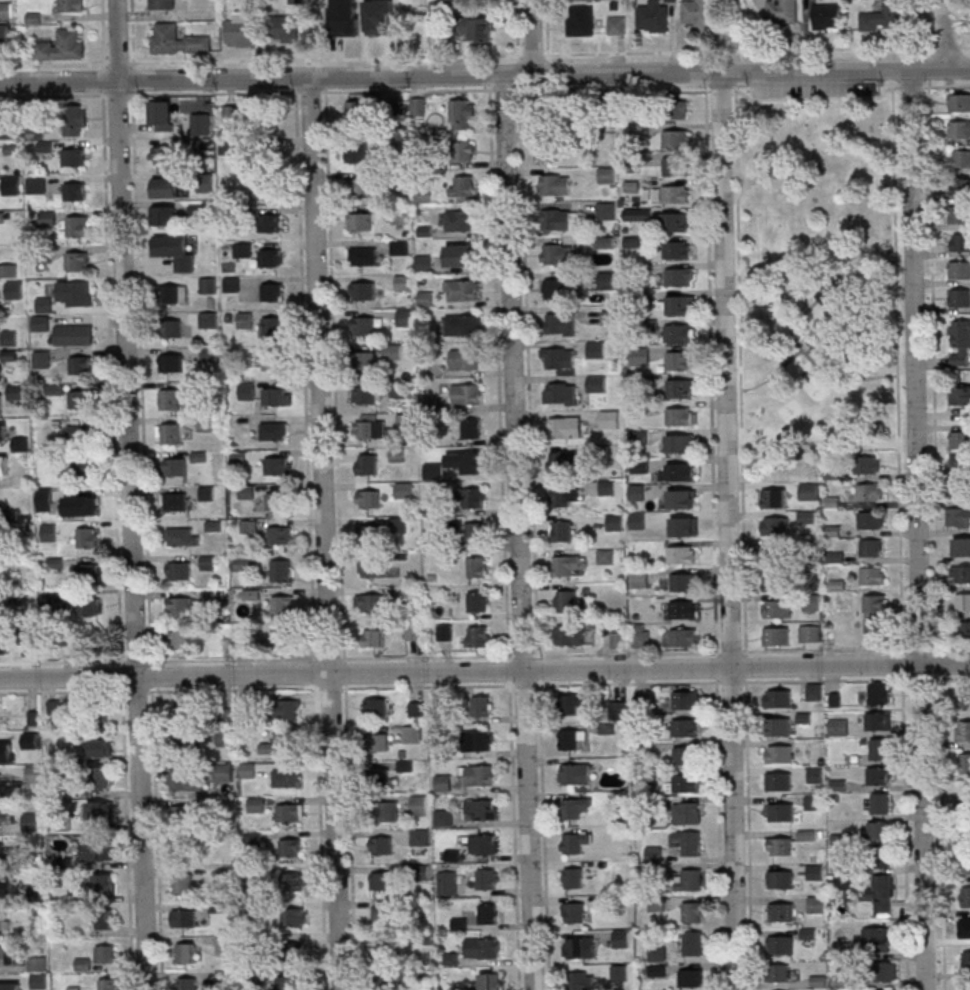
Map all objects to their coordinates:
building: (454, 0)
building: (296, 1)
building: (161, 4)
building: (70, 5)
building: (5, 10)
building: (782, 11)
building: (697, 12)
building: (827, 15)
building: (654, 16)
building: (888, 16)
building: (347, 17)
building: (581, 17)
road: (932, 22)
road: (962, 23)
building: (616, 25)
road: (547, 27)
building: (285, 28)
building: (477, 28)
building: (240, 29)
road: (517, 29)
road: (103, 33)
road: (132, 34)
road: (948, 34)
building: (4, 37)
road: (534, 37)
building: (177, 39)
road: (117, 40)
building: (62, 45)
road: (949, 45)
road: (963, 45)
road: (741, 49)
road: (533, 54)
road: (325, 57)
road: (53, 63)
road: (118, 63)
road: (518, 67)
road: (485, 76)
road: (705, 77)
road: (734, 77)
road: (133, 78)
road: (103, 79)
road: (489, 80)
road: (295, 83)
parking lot: (816, 83)
road: (946, 85)
road: (913, 86)
road: (504, 89)
road: (612, 89)
road: (720, 89)
road: (408, 90)
road: (311, 91)
road: (149, 92)
road: (819, 97)
building: (958, 103)
building: (418, 106)
building: (674, 108)
building: (357, 111)
building: (230, 113)
building: (462, 114)
building: (162, 115)
building: (75, 119)
building: (200, 123)
building: (959, 129)
building: (676, 138)
building: (462, 151)
building: (547, 151)
building: (357, 152)
building: (163, 155)
building: (74, 156)
building: (959, 158)
building: (672, 166)
building: (606, 174)
building: (36, 184)
building: (206, 185)
building: (554, 185)
building: (359, 186)
building: (462, 186)
building: (959, 186)
building: (165, 187)
building: (268, 189)
building: (75, 191)
building: (675, 193)
building: (10, 199)
building: (606, 210)
building: (200, 214)
building: (639, 214)
building: (958, 215)
building: (164, 216)
building: (460, 219)
building: (559, 220)
building: (360, 221)
building: (679, 221)
building: (271, 223)
building: (75, 226)
building: (960, 243)
building: (243, 249)
building: (678, 249)
building: (207, 250)
building: (557, 254)
building: (462, 255)
building: (364, 256)
building: (271, 257)
building: (76, 260)
building: (425, 262)
building: (176, 263)
road: (877, 265)
building: (8, 270)
building: (958, 271)
building: (679, 276)
building: (606, 280)
park: (812, 280)
building: (403, 282)
building: (208, 285)
building: (558, 288)
building: (362, 290)
building: (462, 290)
building: (273, 292)
building: (834, 292)
building: (74, 293)
building: (174, 293)
building: (424, 298)
building: (959, 299)
building: (44, 303)
building: (677, 304)
building: (609, 316)
building: (404, 317)
building: (208, 319)
building: (560, 323)
building: (363, 324)
building: (463, 324)
building: (274, 326)
building: (172, 328)
building: (678, 332)
building: (74, 334)
building: (9, 337)
building: (960, 342)
building: (596, 348)
building: (209, 353)
building: (640, 356)
building: (558, 357)
building: (465, 359)
building: (365, 360)
building: (679, 360)
building: (273, 361)
building: (171, 362)
building: (80, 364)
road: (711, 366)
road: (740, 367)
building: (0, 370)
road: (898, 370)
road: (934, 370)
road: (499, 371)
road: (823, 372)
road: (529, 373)
road: (335, 376)
road: (142, 377)
road: (111, 378)
road: (768, 379)
building: (597, 383)
building: (682, 388)
building: (247, 389)
building: (15, 391)
building: (467, 393)
building: (566, 393)
building: (366, 394)
building: (277, 396)
building: (170, 398)
building: (962, 399)
building: (82, 400)
building: (1, 404)
building: (680, 415)
building: (609, 419)
building: (407, 420)
building: (372, 427)
building: (564, 427)
building: (472, 428)
building: (274, 430)
building: (79, 433)
building: (170, 433)
road: (821, 435)
building: (960, 439)
building: (680, 443)
building: (397, 455)
building: (466, 462)
building: (565, 462)
building: (960, 463)
building: (18, 464)
building: (368, 464)
building: (868, 465)
building: (175, 466)
building: (279, 466)
building: (84, 468)
building: (432, 471)
building: (678, 472)
building: (607, 487)
building: (404, 490)
building: (958, 490)
building: (247, 491)
building: (636, 491)
building: (808, 491)
building: (209, 492)
building: (870, 493)
building: (565, 495)
building: (476, 497)
building: (774, 497)
building: (45, 498)
building: (369, 498)
building: (682, 498)
building: (175, 501)
building: (276, 501)
building: (79, 504)
building: (958, 518)
building: (637, 520)
building: (870, 520)
building: (615, 521)
building: (400, 524)
building: (775, 525)
building: (249, 526)
building: (683, 526)
road: (917, 529)
building: (562, 530)
road: (728, 530)
building: (477, 531)
building: (373, 532)
road: (519, 532)
road: (324, 534)
road: (132, 535)
building: (280, 535)
building: (183, 536)
building: (88, 537)
road: (310, 539)
building: (872, 547)
building: (961, 547)
building: (775, 553)
building: (681, 554)
building: (605, 556)
building: (207, 562)
building: (242, 563)
building: (567, 565)
building: (477, 566)
building: (373, 567)
building: (282, 570)
building: (178, 571)
building: (86, 574)
building: (960, 574)
building: (873, 575)
building: (639, 579)
building: (685, 582)
building: (774, 582)
building: (566, 600)
building: (479, 601)
building: (964, 601)
building: (372, 602)
building: (283, 604)
building: (89, 606)
building: (180, 606)
building: (776, 608)
building: (680, 609)
building: (875, 613)
building: (965, 629)
building: (445, 631)
building: (414, 632)
building: (810, 633)
building: (569, 634)
building: (479, 635)
building: (617, 635)
building: (776, 635)
building: (683, 636)
building: (250, 637)
building: (284, 637)
building: (373, 637)
building: (181, 640)
road: (948, 647)
road: (919, 648)
road: (826, 649)
road: (730, 651)
road: (627, 652)
road: (524, 655)
road: (426, 656)
road: (329, 658)
road: (233, 659)
road: (62, 661)
road: (137, 661)
road: (940, 663)
road: (903, 664)
road: (745, 667)
road: (539, 669)
road: (152, 671)
road: (345, 671)
road: (484, 671)
road: (509, 672)
road: (122, 675)
road: (940, 679)
road: (827, 680)
road: (540, 682)
road: (626, 682)
road: (524, 685)
road: (256, 688)
building: (814, 691)
building: (879, 693)
building: (964, 696)
building: (777, 698)
building: (685, 700)
building: (573, 703)
building: (483, 705)
building: (376, 706)
building: (54, 708)
building: (97, 710)
building: (288, 710)
building: (878, 721)
building: (187, 724)
building: (778, 726)
building: (838, 726)
building: (684, 728)
building: (962, 730)
building: (413, 734)
building: (570, 738)
building: (478, 741)
building: (378, 742)
building: (280, 744)
building: (100, 748)
building: (880, 748)
building: (779, 754)
building: (684, 756)
building: (964, 762)
building: (247, 769)
building: (224, 772)
building: (34, 775)
building: (572, 775)
building: (815, 775)
building: (380, 776)
building: (478, 776)
building: (879, 776)
building: (99, 778)
building: (285, 778)
building: (186, 780)
building: (779, 781)
building: (443, 782)
building: (684, 784)
building: (9, 786)
building: (965, 799)
building: (813, 803)
building: (255, 804)
building: (880, 804)
building: (418, 805)
building: (571, 808)
building: (480, 810)
building: (389, 811)
building: (779, 811)
building: (100, 812)
building: (290, 812)
building: (687, 812)
building: (181, 815)
building: (2, 816)
building: (442, 817)
building: (32, 821)
building: (879, 830)
road: (943, 831)
road: (906, 832)
road: (350, 835)
road: (718, 835)
road: (748, 835)
building: (967, 836)
building: (420, 837)
road: (127, 838)
road: (157, 840)
building: (573, 842)
building: (691, 843)
building: (382, 844)
building: (484, 844)
building: (778, 845)
building: (291, 847)
building: (95, 849)
building: (1, 850)
building: (653, 853)
building: (881, 857)
building: (966, 865)
building: (815, 871)
building: (574, 877)
building: (488, 878)
building: (780, 878)
building: (692, 879)
building: (383, 880)
building: (293, 882)
building: (105, 883)
building: (183, 883)
building: (448, 883)
building: (2, 887)
building: (881, 893)
building: (965, 896)
building: (219, 906)
building: (780, 911)
building: (383, 912)
building: (576, 912)
building: (692, 912)
building: (489, 913)
building: (293, 916)
building: (185, 917)
building: (106, 919)
building: (4, 921)
building: (966, 928)
building: (621, 938)
building: (881, 938)
building: (693, 943)
building: (225, 944)
building: (781, 944)
building: (576, 947)
building: (483, 948)
building: (384, 949)
building: (104, 953)
building: (184, 953)
building: (295, 953)
building: (657, 953)
building: (4, 955)
building: (451, 958)
building: (965, 961)
building: (886, 971)
building: (781, 972)
building: (620, 973)
building: (692, 978)
building: (491, 981)
building: (578, 981)
building: (290, 982)
building: (387, 982)
building: (109, 983)
building: (187, 983)
building: (966, 987)

